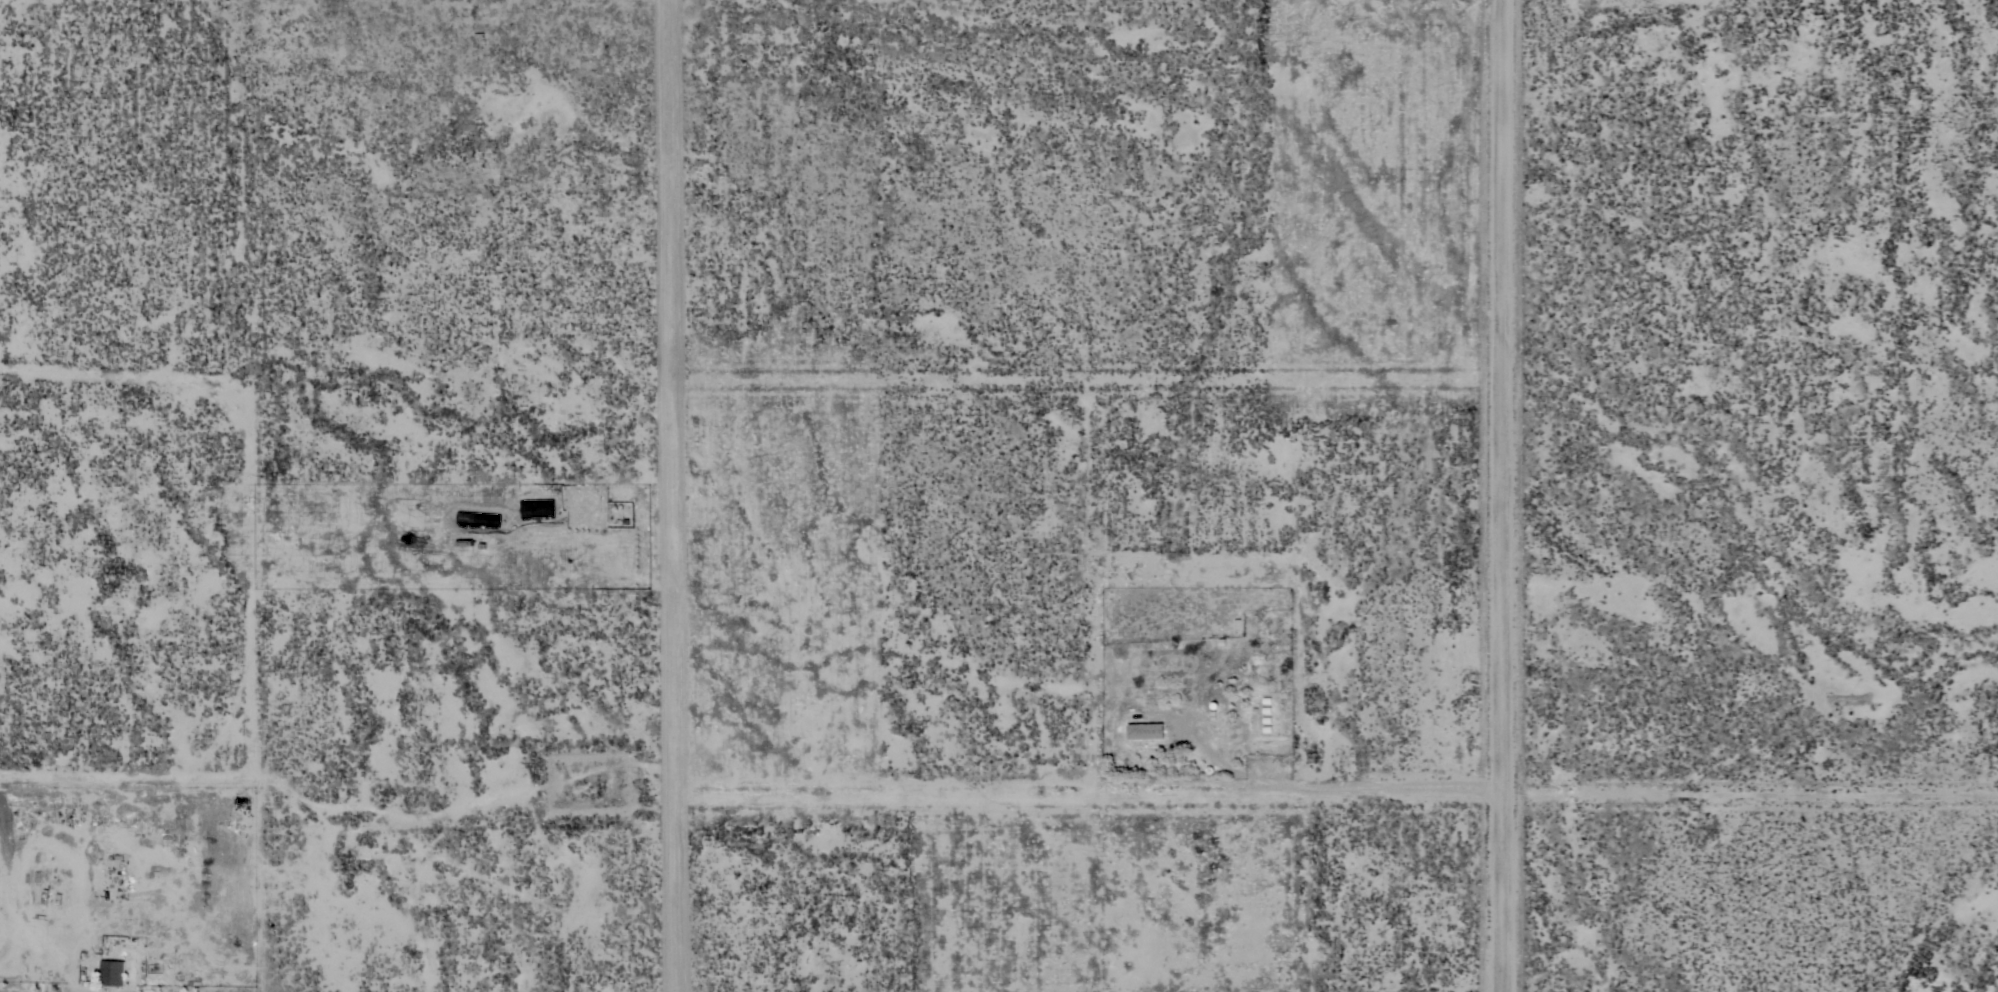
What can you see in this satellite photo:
road: (1500, 495)
road: (676, 496)
building: (1145, 731)
road: (1090, 791)
building: (112, 973)

